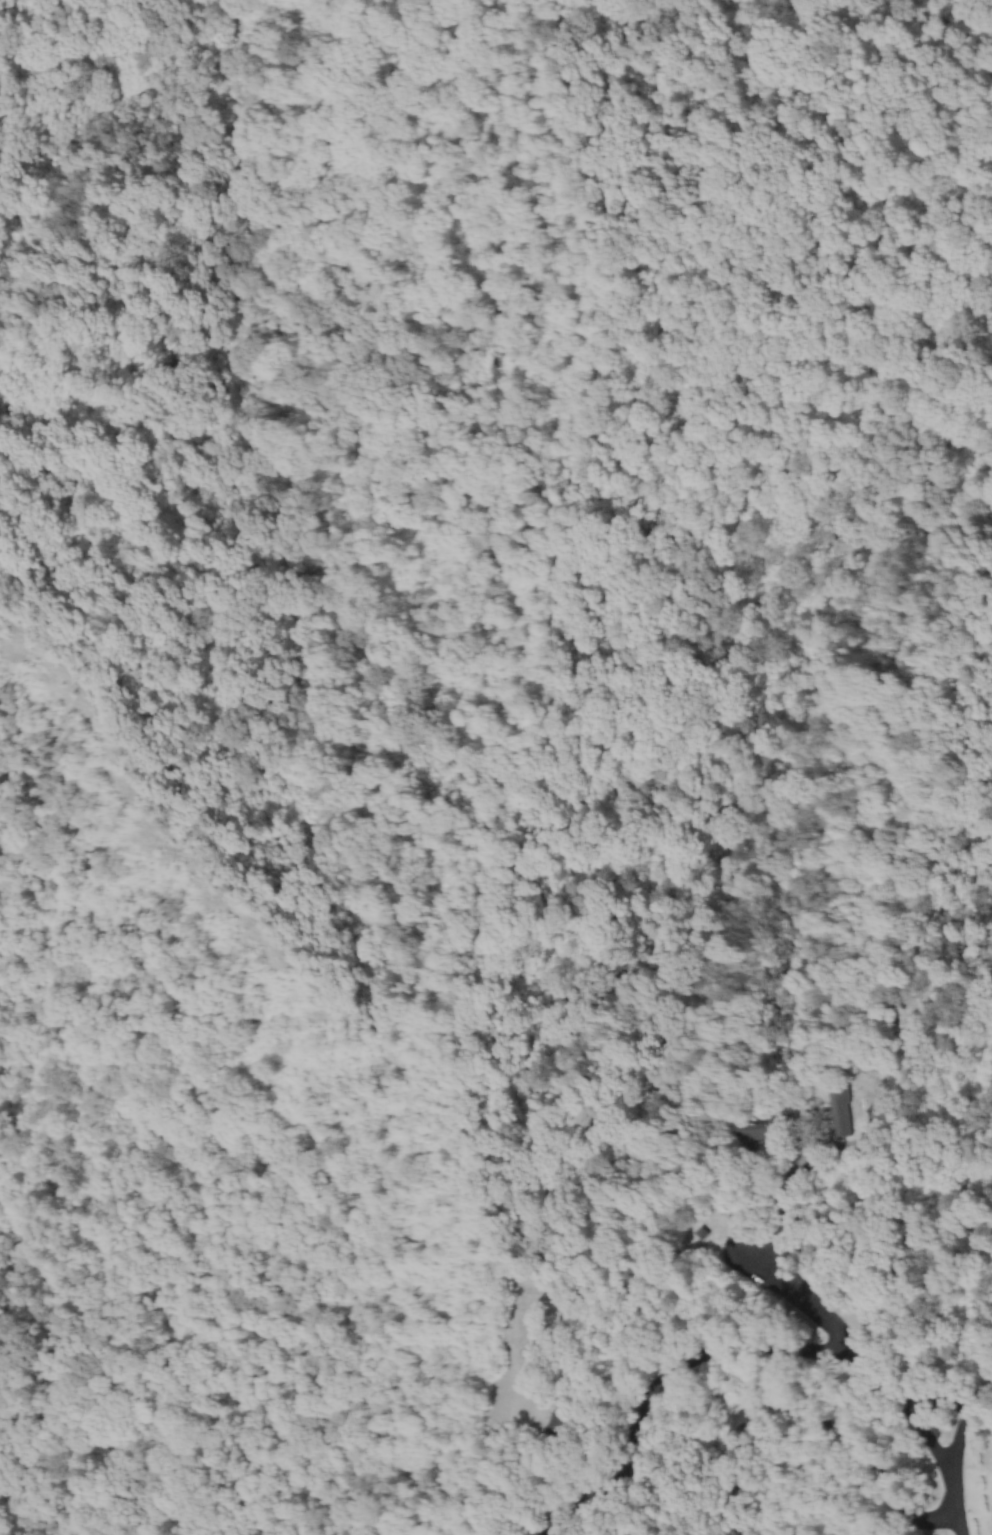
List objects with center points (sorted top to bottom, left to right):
road: (389, 1013)
building: (870, 1058)
road: (696, 1364)
road: (522, 1394)
road: (957, 1396)
road: (811, 1411)
road: (958, 1441)
road: (938, 1464)

